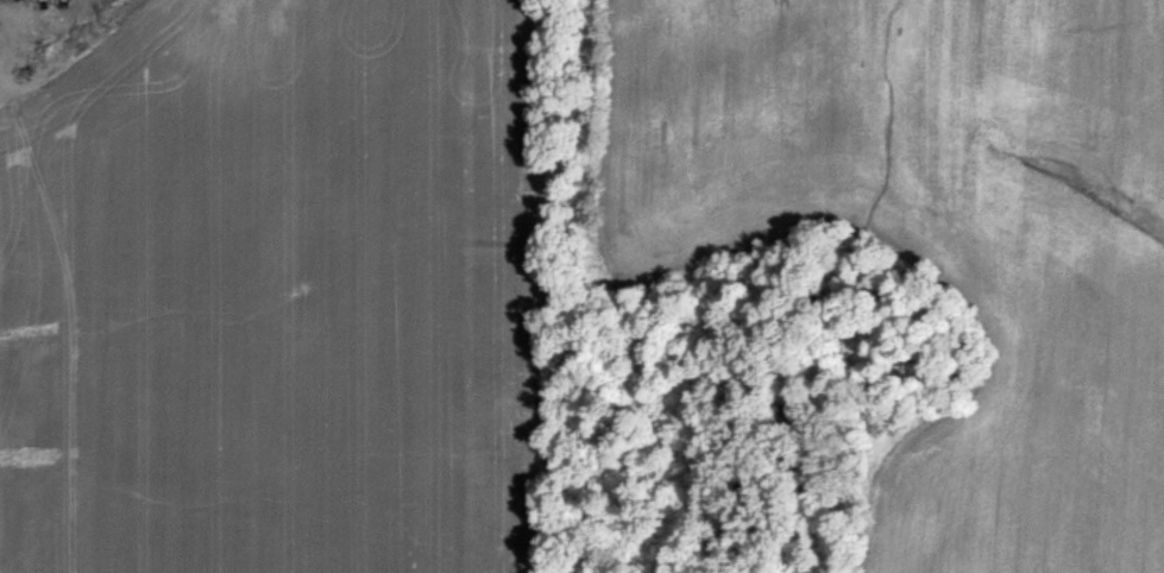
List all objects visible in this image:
crop: (581, 286)

